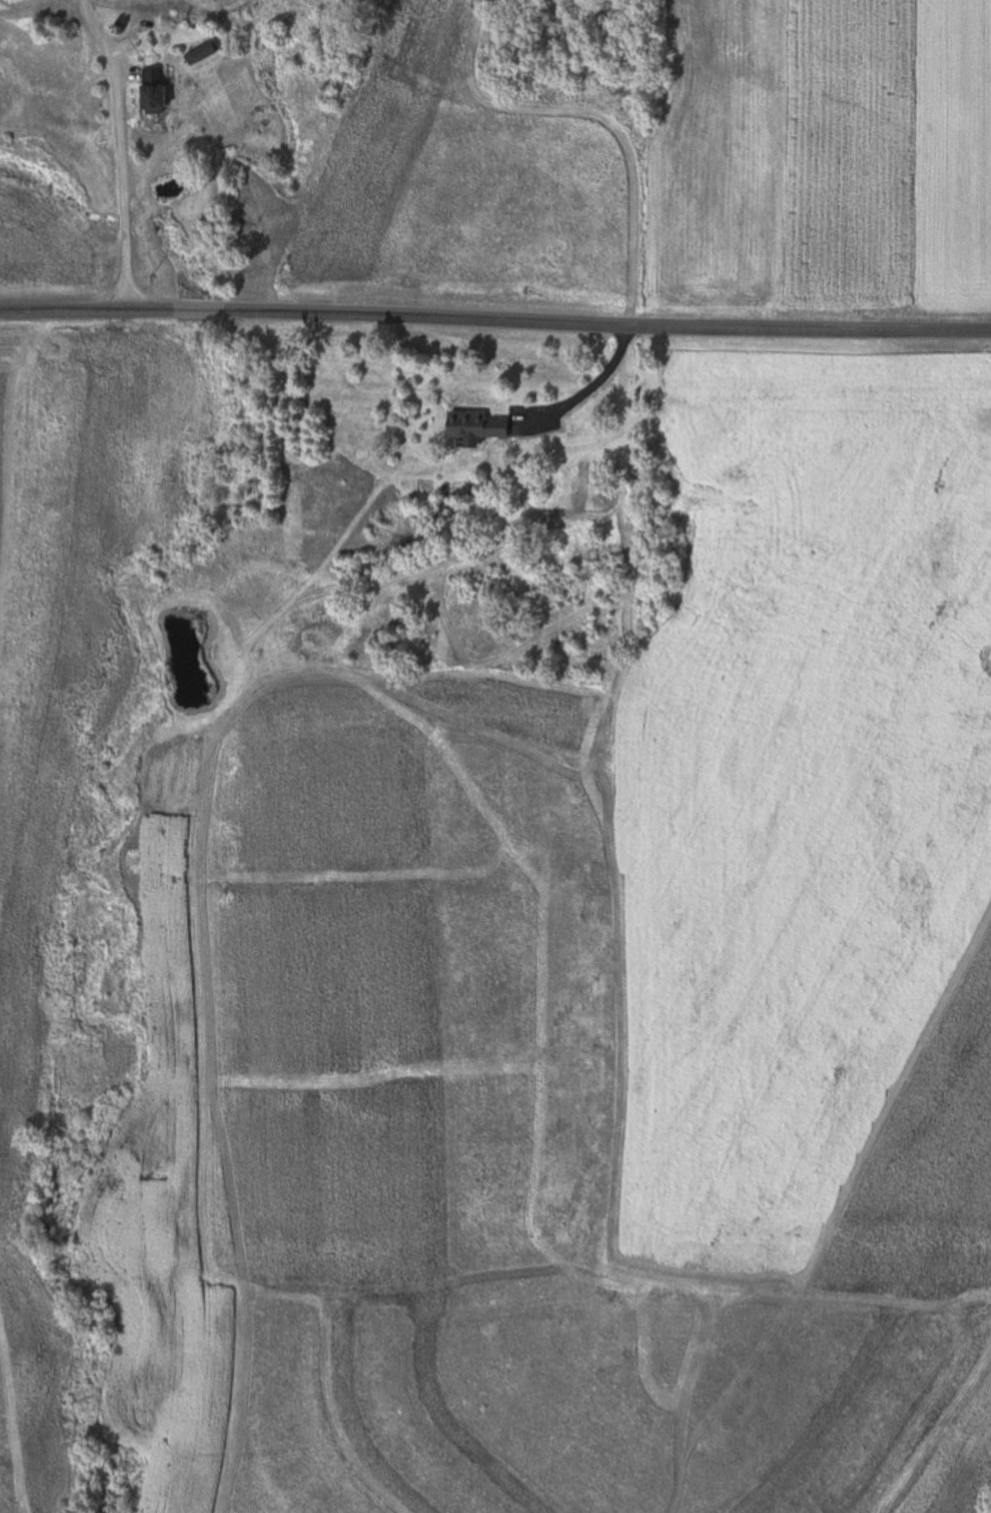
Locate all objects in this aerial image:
building: (154, 90)
road: (123, 151)
road: (495, 318)
building: (477, 425)

